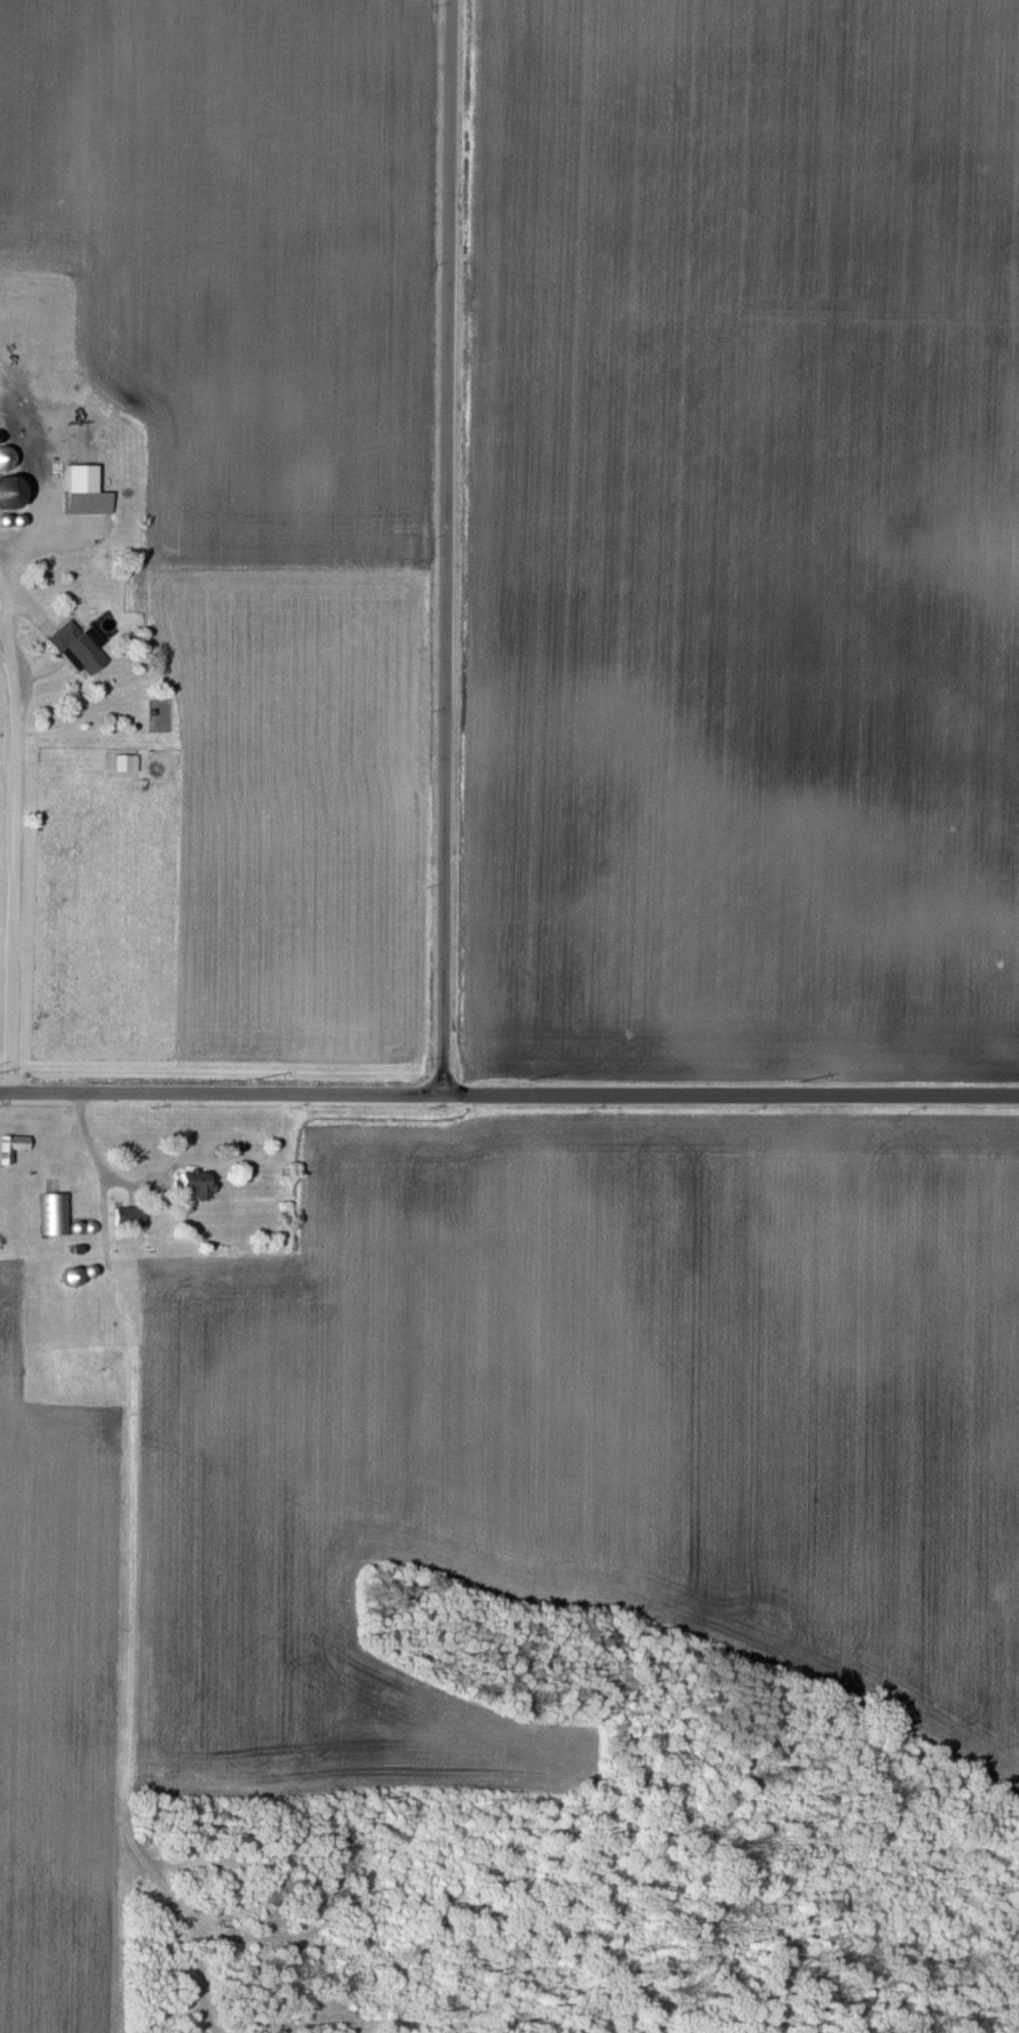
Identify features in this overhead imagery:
building: (83, 493)
road: (38, 530)
road: (445, 547)
building: (77, 649)
road: (6, 661)
road: (15, 688)
road: (16, 901)
road: (509, 1095)
building: (11, 1149)
road: (95, 1151)
building: (193, 1189)

